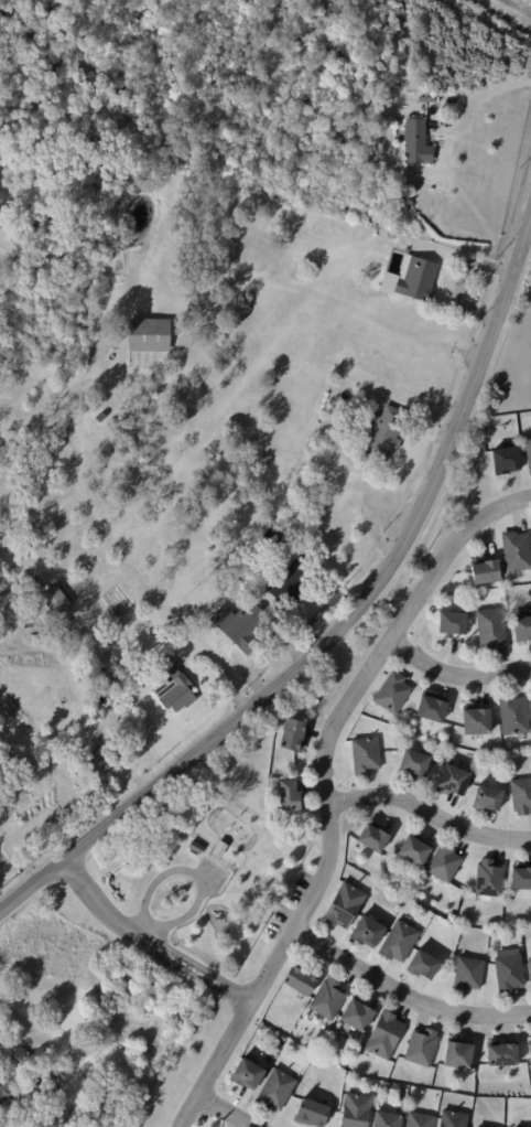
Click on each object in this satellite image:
building: (315, 22)
building: (340, 47)
road: (479, 95)
building: (415, 146)
building: (411, 281)
building: (148, 335)
building: (334, 385)
building: (372, 400)
building: (97, 416)
building: (384, 431)
building: (337, 447)
building: (528, 451)
building: (505, 460)
building: (272, 526)
building: (268, 537)
building: (516, 551)
building: (279, 558)
building: (485, 571)
building: (289, 584)
building: (54, 600)
road: (344, 622)
building: (63, 623)
building: (451, 623)
building: (247, 627)
building: (521, 627)
building: (490, 629)
building: (144, 669)
road: (455, 676)
building: (174, 688)
building: (391, 691)
building: (530, 700)
building: (431, 707)
building: (513, 715)
building: (475, 720)
building: (292, 734)
building: (76, 736)
building: (365, 754)
building: (101, 758)
building: (413, 763)
building: (452, 780)
road: (324, 790)
building: (289, 795)
building: (521, 797)
building: (487, 798)
road: (429, 811)
building: (372, 838)
building: (195, 847)
building: (414, 848)
building: (218, 849)
building: (444, 862)
road: (188, 871)
building: (520, 876)
building: (487, 878)
park: (237, 881)
road: (240, 892)
building: (344, 905)
road: (110, 916)
building: (366, 932)
road: (145, 934)
building: (398, 942)
building: (422, 965)
building: (529, 968)
building: (508, 973)
building: (467, 974)
road: (208, 979)
building: (299, 980)
road: (403, 995)
building: (327, 999)
building: (143, 1001)
building: (356, 1013)
road: (21, 1019)
building: (384, 1035)
building: (421, 1046)
building: (529, 1050)
building: (457, 1053)
building: (500, 1053)
building: (10, 1074)
building: (245, 1074)
building: (45, 1082)
building: (275, 1090)
building: (39, 1091)
building: (105, 1095)
road: (226, 1110)
building: (355, 1110)
building: (311, 1114)
building: (453, 1119)
building: (386, 1120)
building: (419, 1120)

